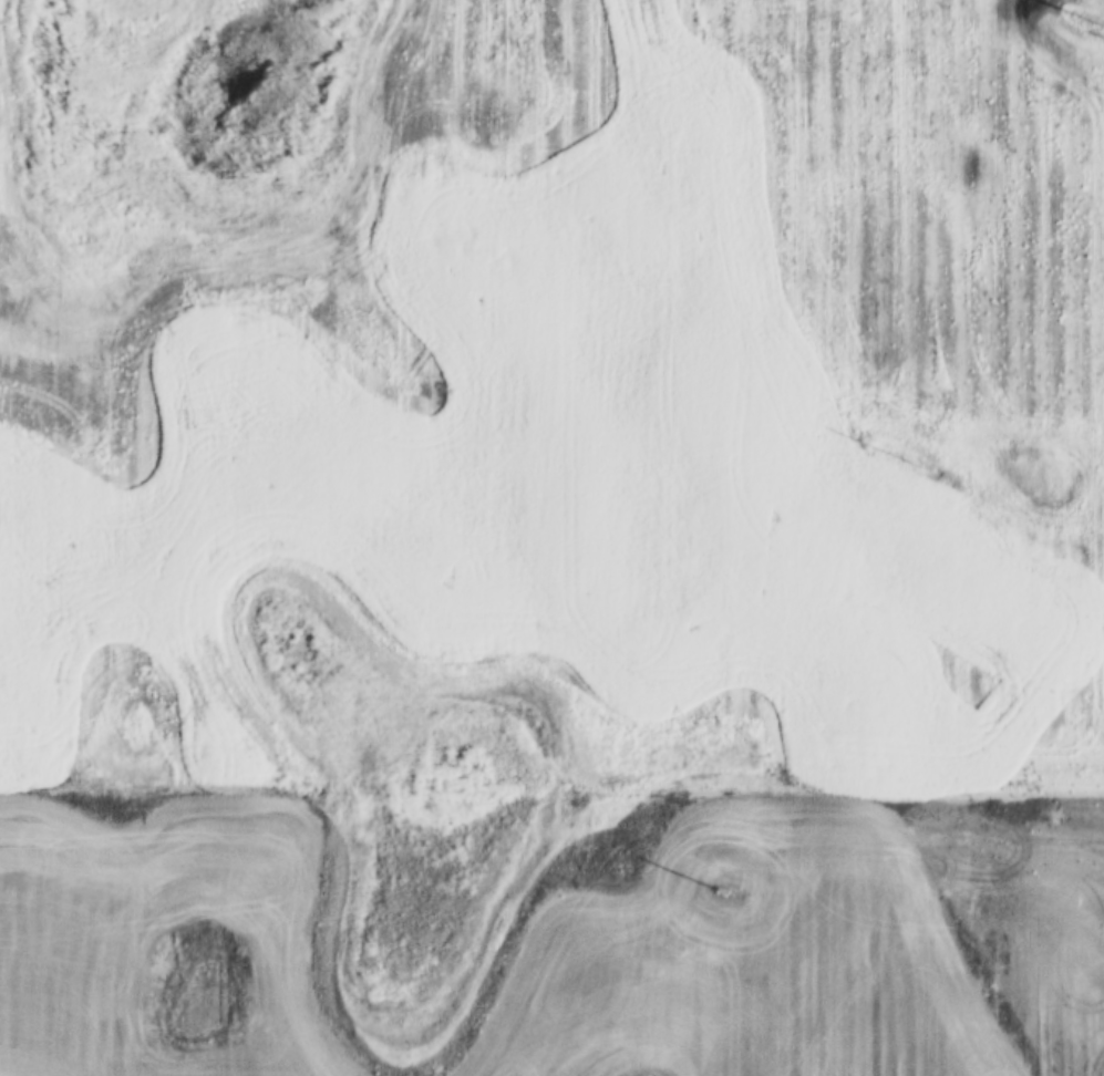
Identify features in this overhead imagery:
power tower: (1103, 25)
power tower: (910, 457)
power tower: (719, 890)

